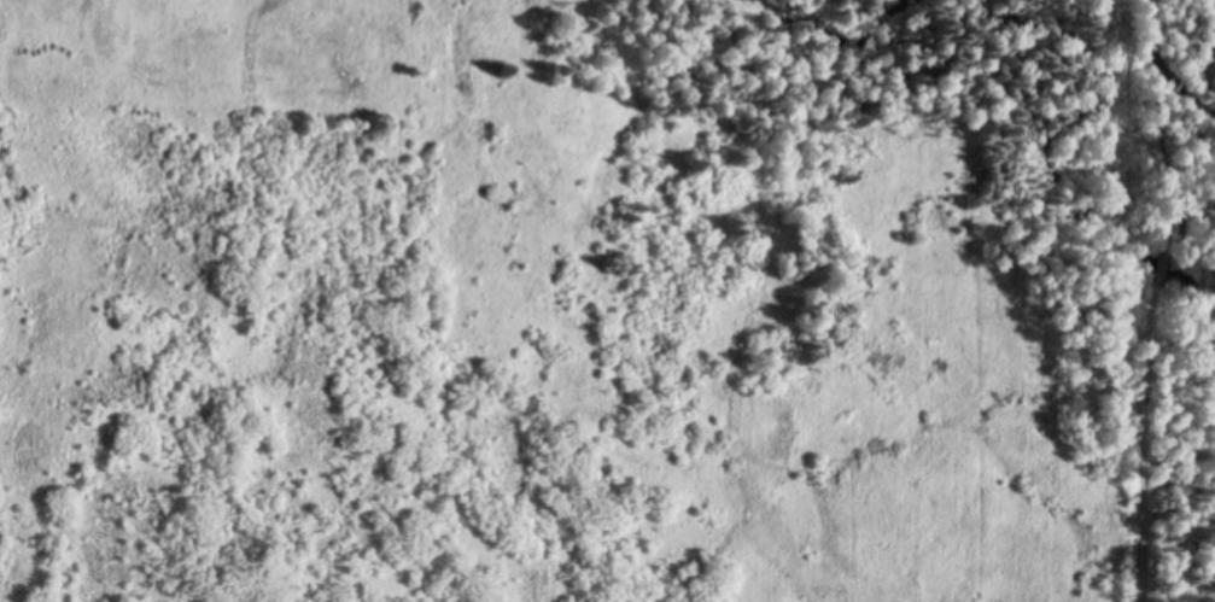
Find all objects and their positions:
road: (1166, 66)

